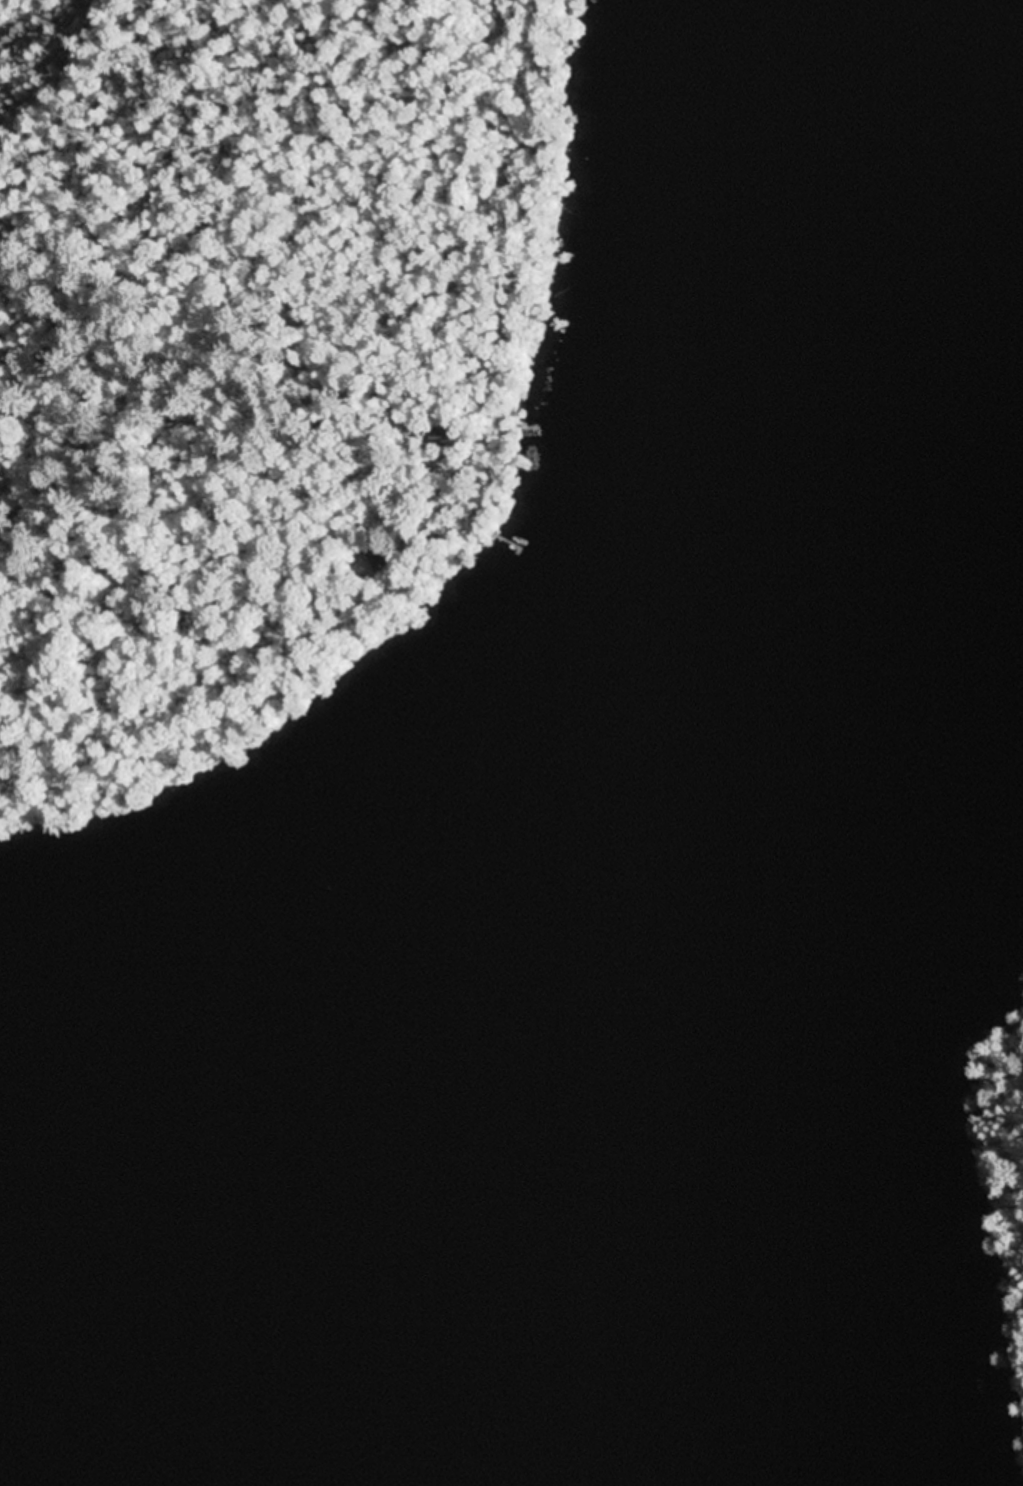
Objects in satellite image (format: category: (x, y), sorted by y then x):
building: (450, 437)
building: (371, 554)

